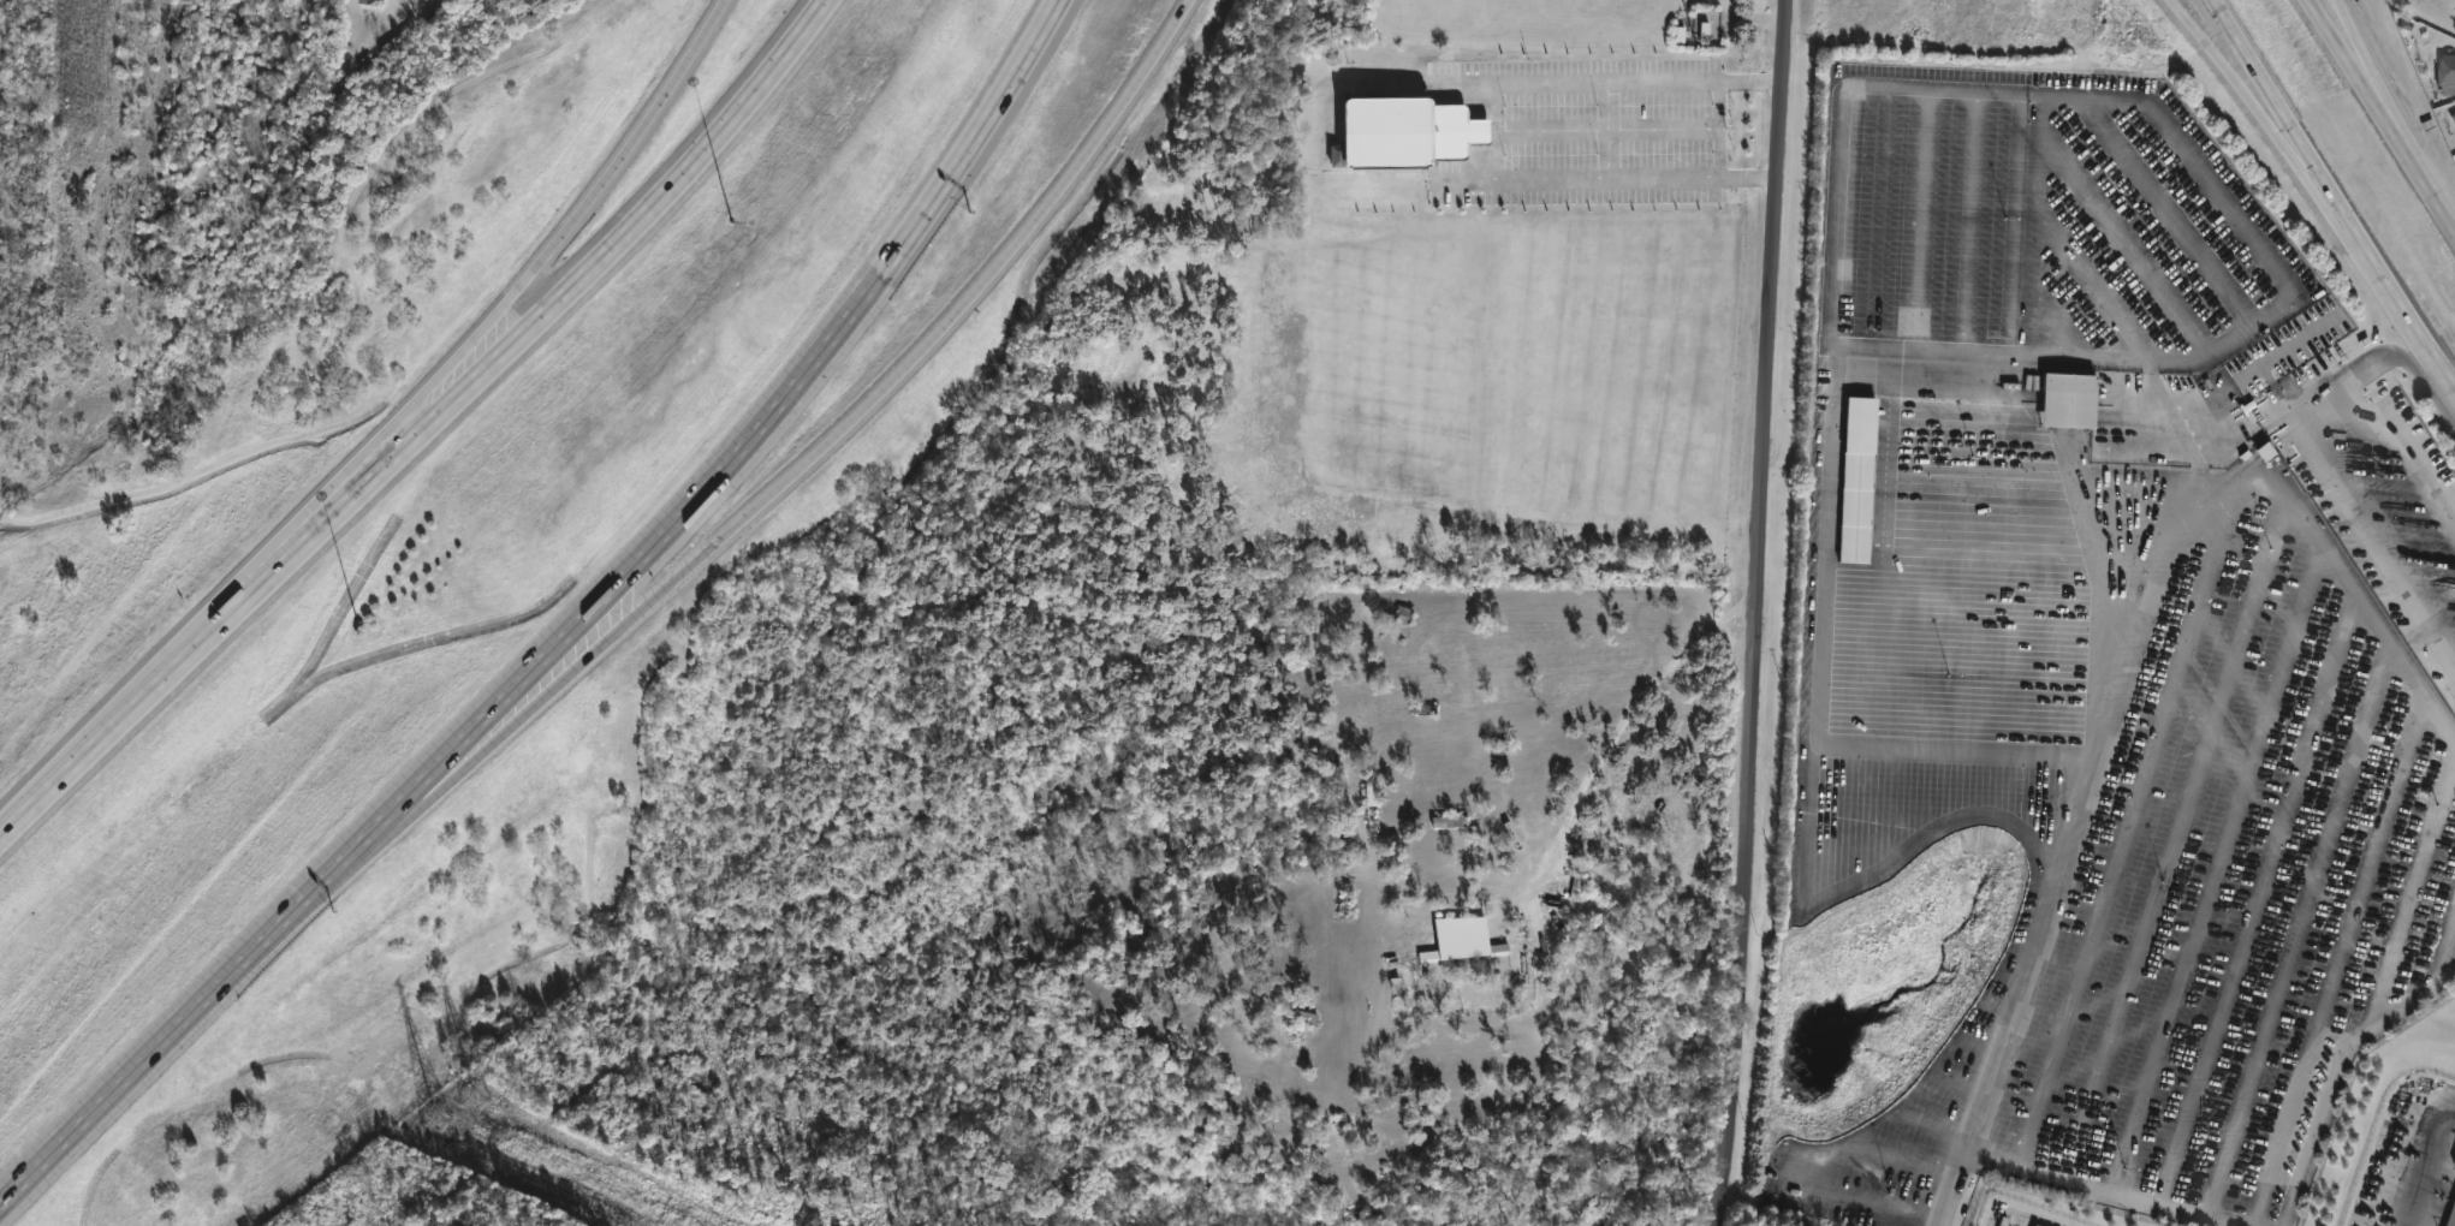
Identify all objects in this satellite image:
building: (373, 2)
building: (2454, 14)
building: (2444, 70)
road: (2358, 72)
road: (2372, 72)
road: (2263, 112)
road: (2287, 113)
building: (2453, 117)
road: (1502, 129)
road: (1555, 129)
road: (1664, 129)
road: (1720, 129)
road: (1609, 130)
building: (1413, 135)
road: (618, 154)
road: (2201, 165)
road: (2430, 185)
street lamp: (732, 221)
park: (18, 239)
park: (25, 249)
road: (2406, 306)
road: (470, 357)
road: (2412, 365)
road: (876, 393)
road: (2328, 393)
building: (2063, 397)
road: (762, 418)
road: (424, 422)
building: (1857, 425)
road: (2403, 457)
road: (2010, 475)
road: (1825, 546)
road: (2370, 548)
road: (2171, 558)
road: (2331, 561)
road: (1756, 613)
street lamp: (359, 618)
road: (1961, 752)
road: (457, 760)
building: (1377, 805)
building: (1450, 822)
road: (2, 827)
building: (1348, 897)
road: (2046, 928)
road: (204, 994)
building: (1300, 1023)
road: (2334, 1072)
power tower: (454, 1123)
building: (2453, 1165)
road: (2112, 1192)
building: (2451, 1216)

